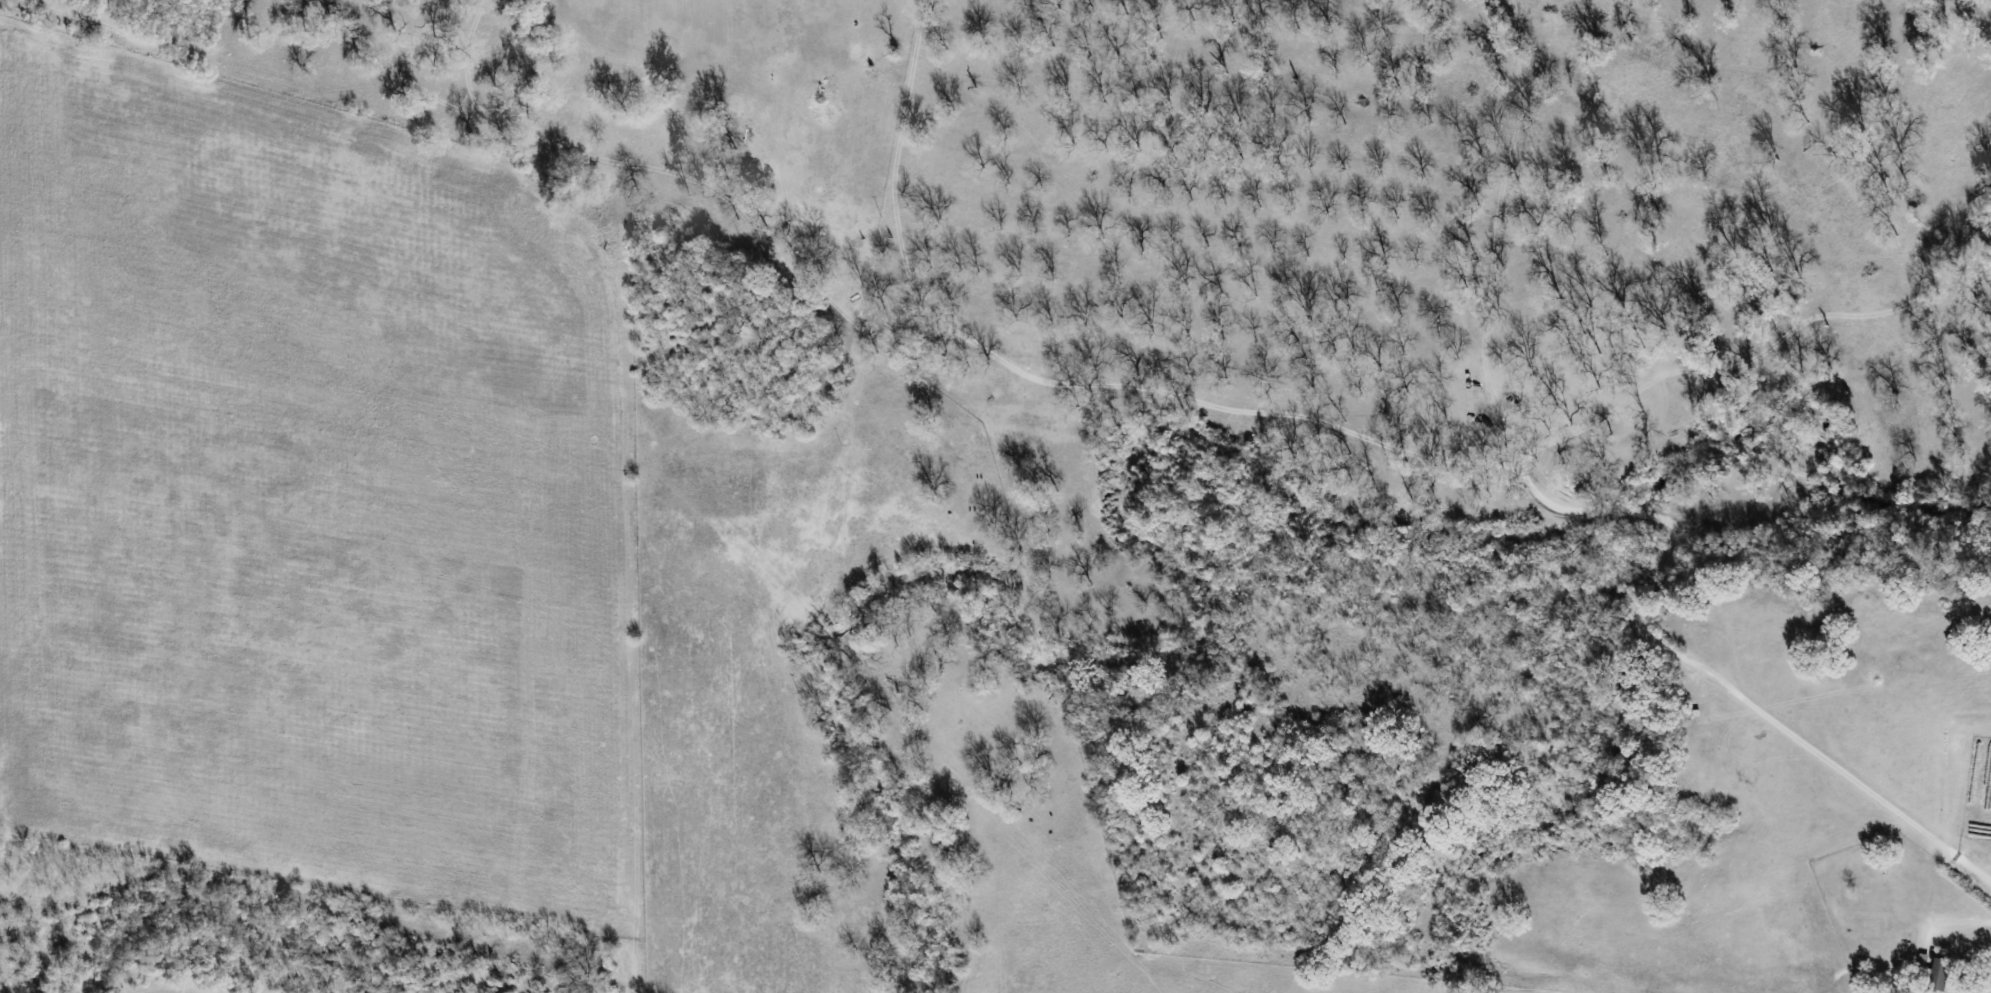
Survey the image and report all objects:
road: (1982, 844)

